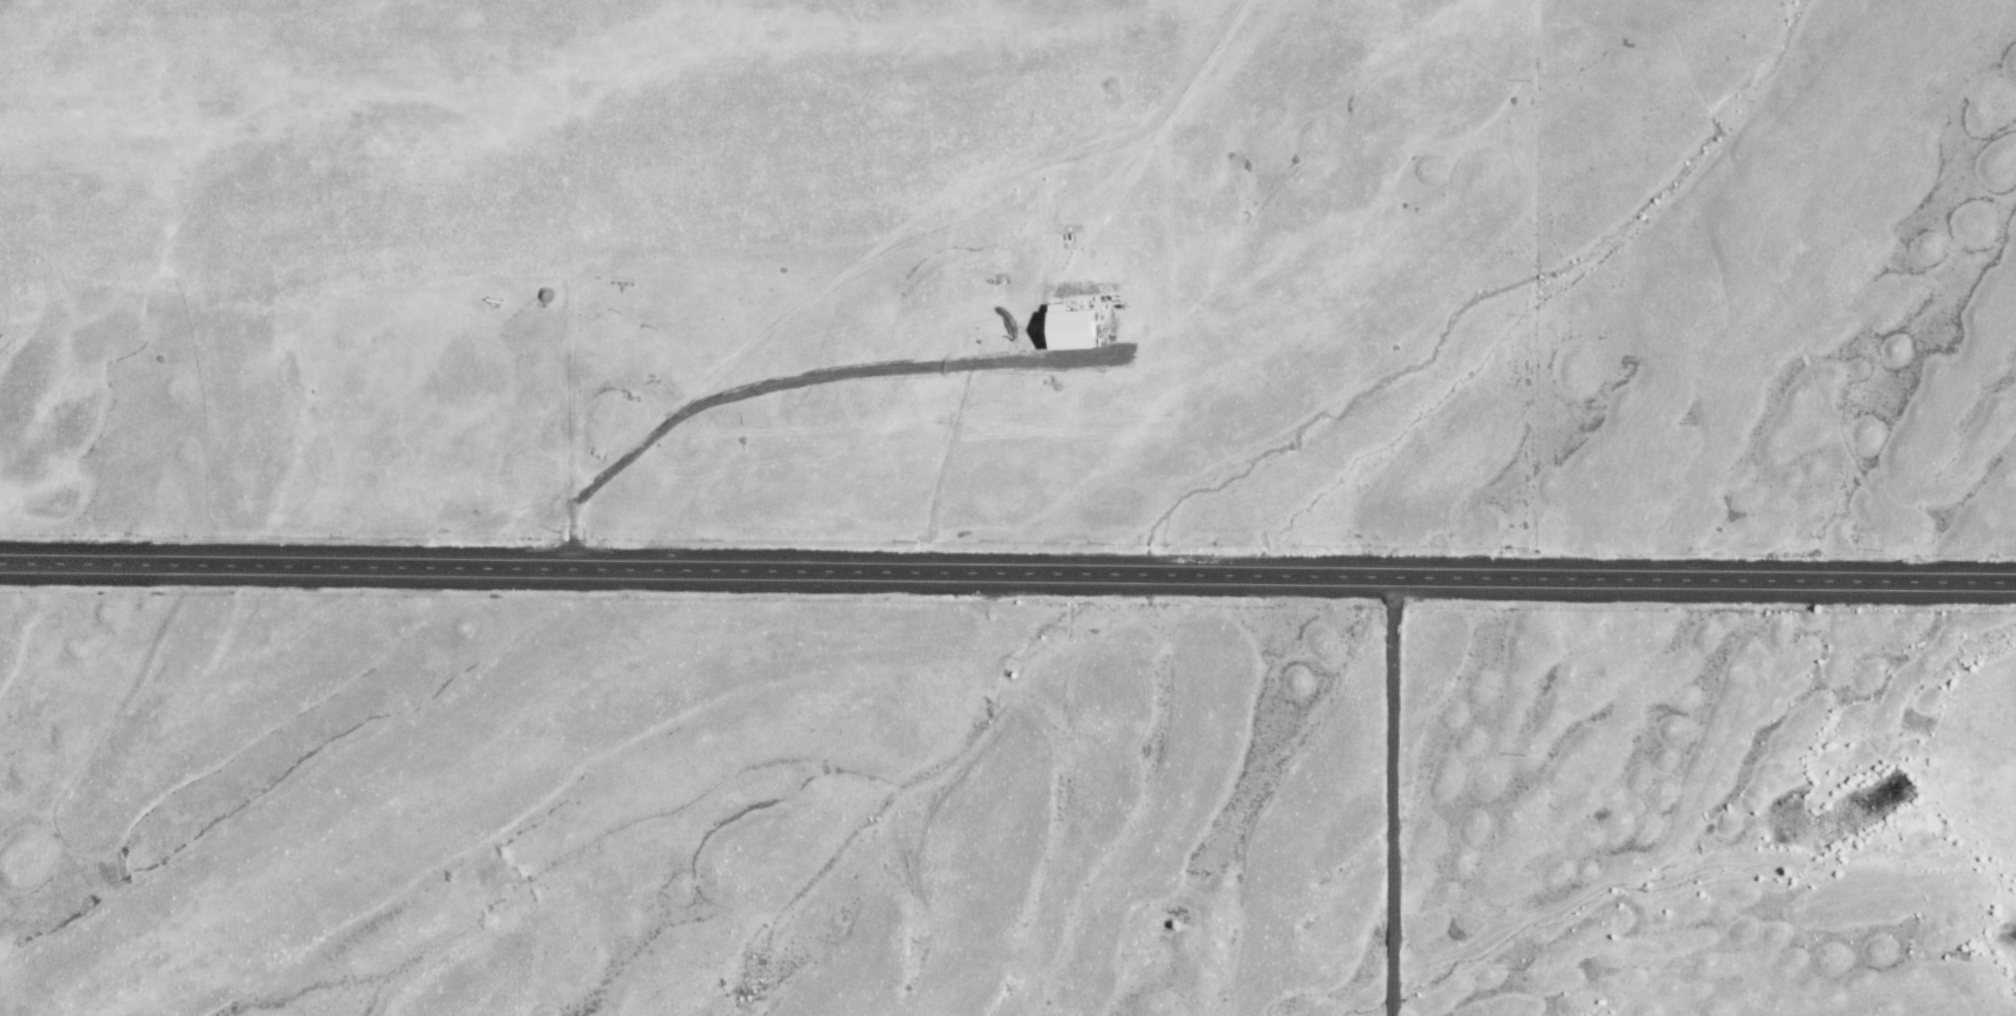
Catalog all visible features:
road: (1007, 571)
road: (1382, 795)

